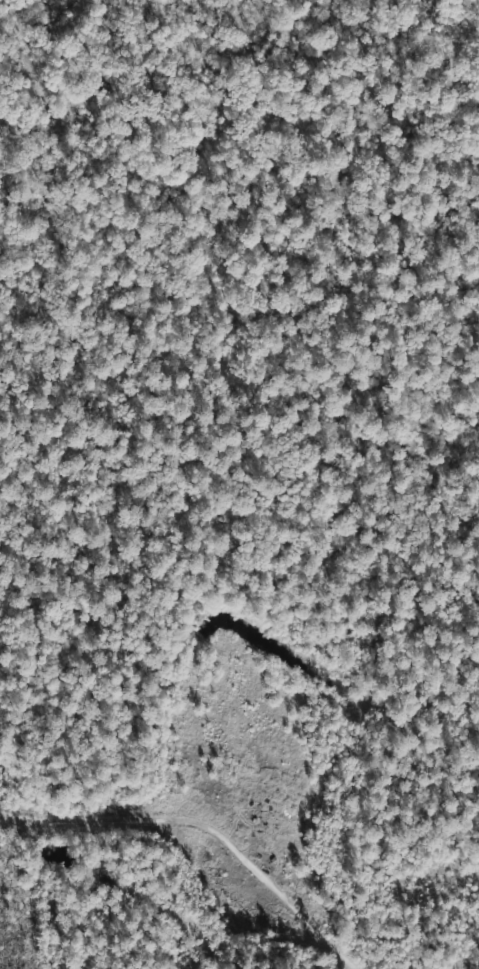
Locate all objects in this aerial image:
road: (205, 827)

